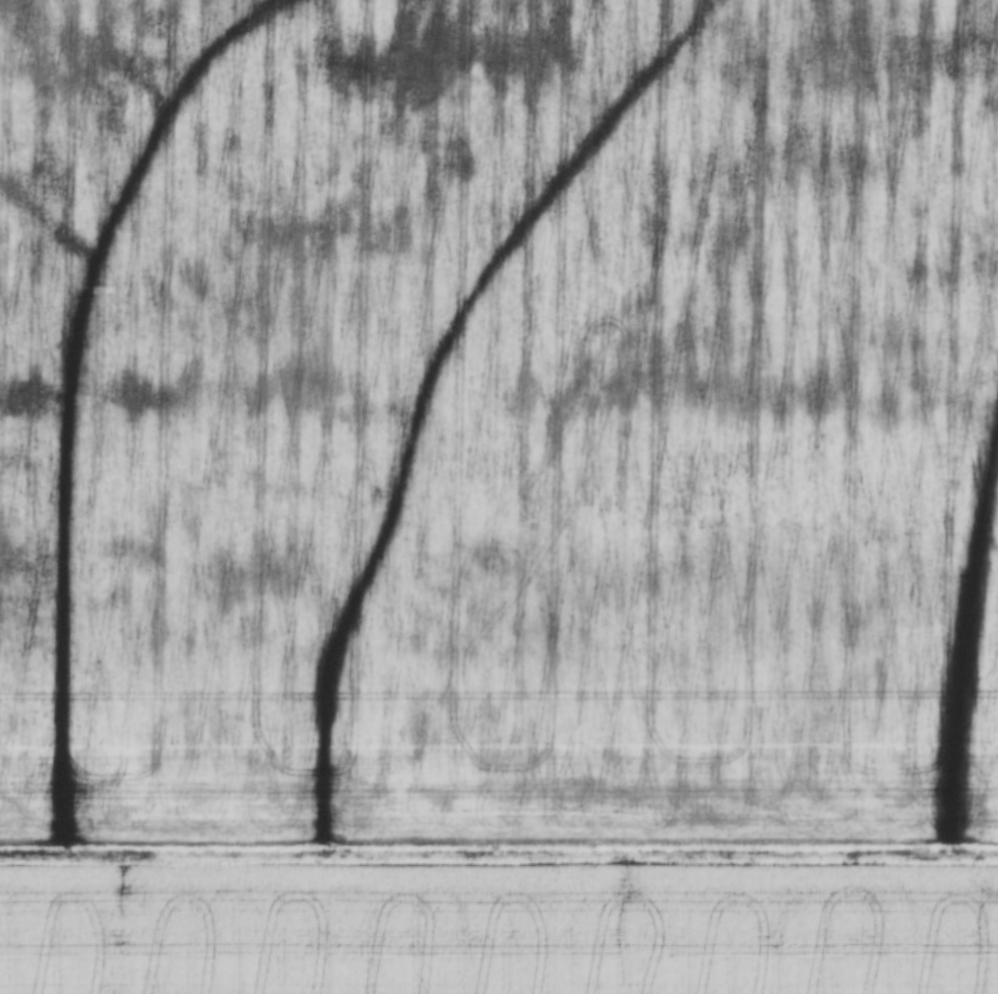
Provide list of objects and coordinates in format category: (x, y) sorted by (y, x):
crop: (498, 419)
crop: (500, 931)

